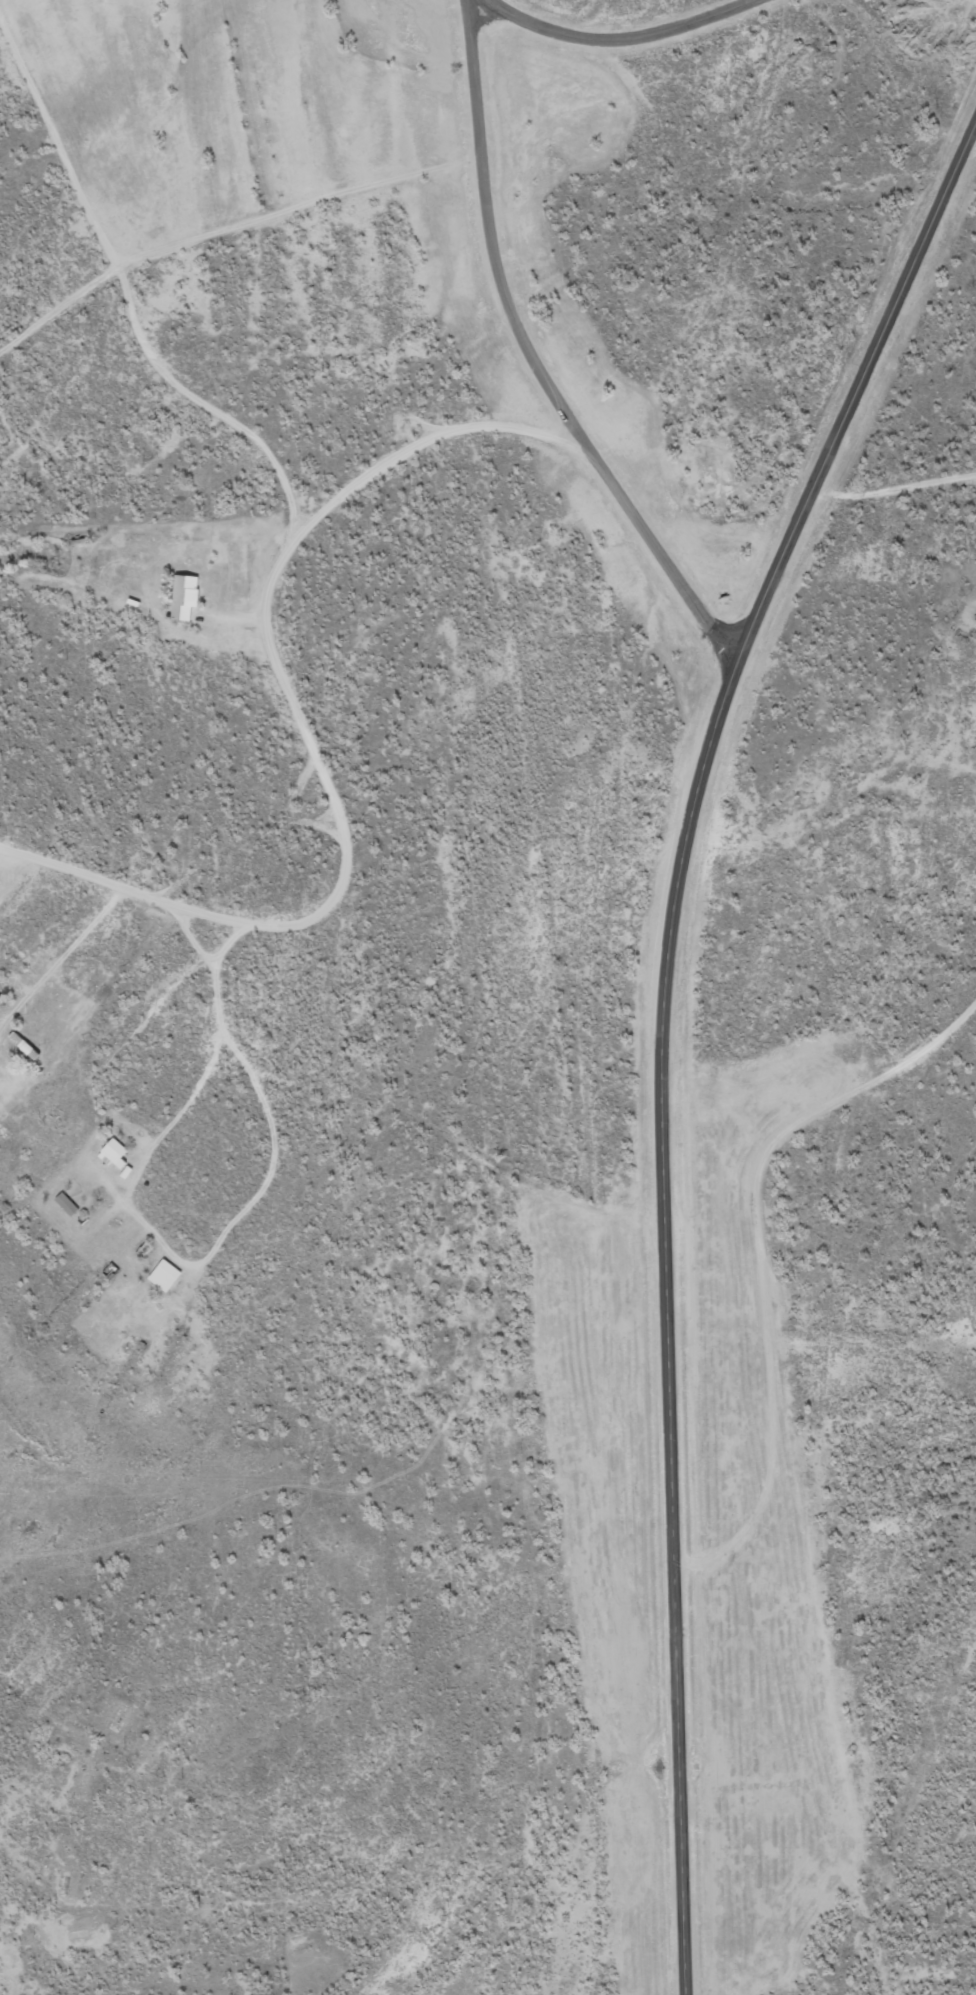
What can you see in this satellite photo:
road: (613, 36)
road: (10, 61)
road: (300, 206)
road: (534, 358)
road: (453, 428)
road: (811, 510)
road: (270, 587)
building: (184, 596)
road: (663, 1022)
road: (243, 1057)
road: (835, 1090)
building: (114, 1154)
building: (66, 1203)
building: (164, 1275)
road: (224, 1818)
road: (973, 1883)
road: (264, 1926)
road: (52, 1985)

